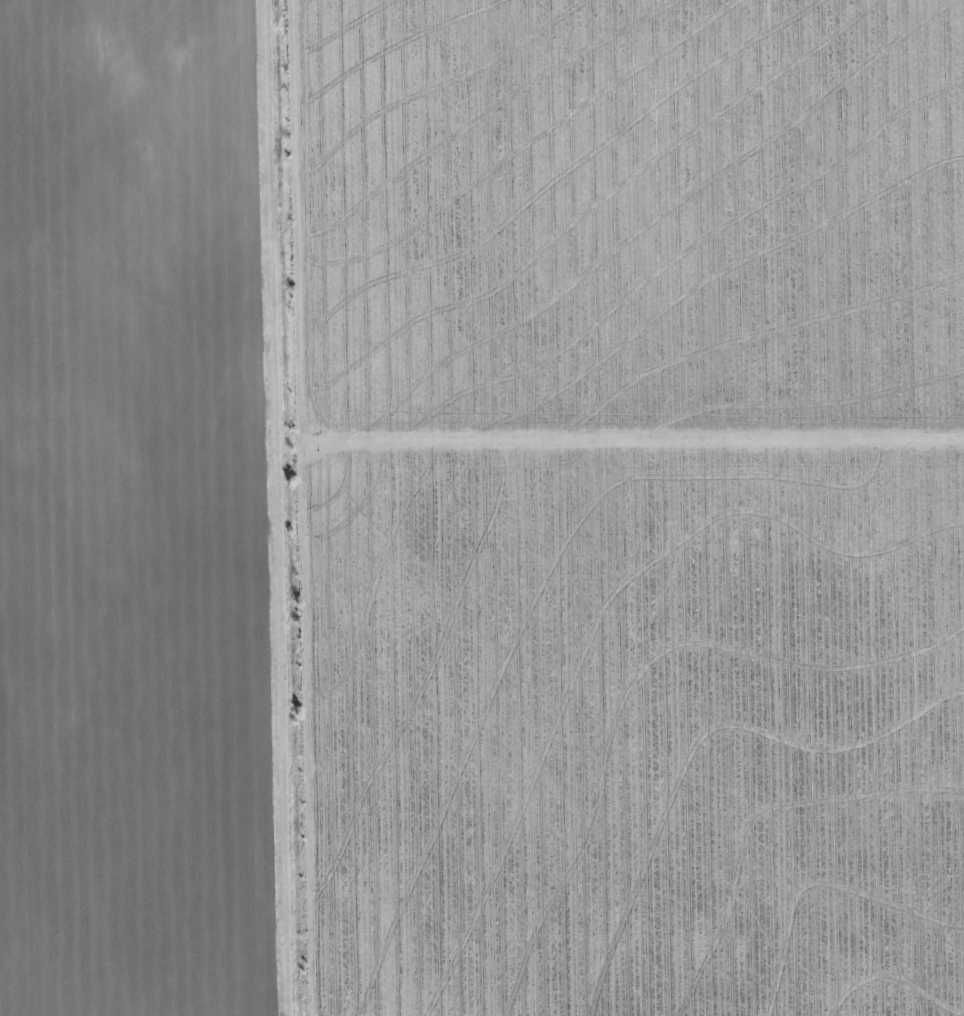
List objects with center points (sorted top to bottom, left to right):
road: (286, 508)

